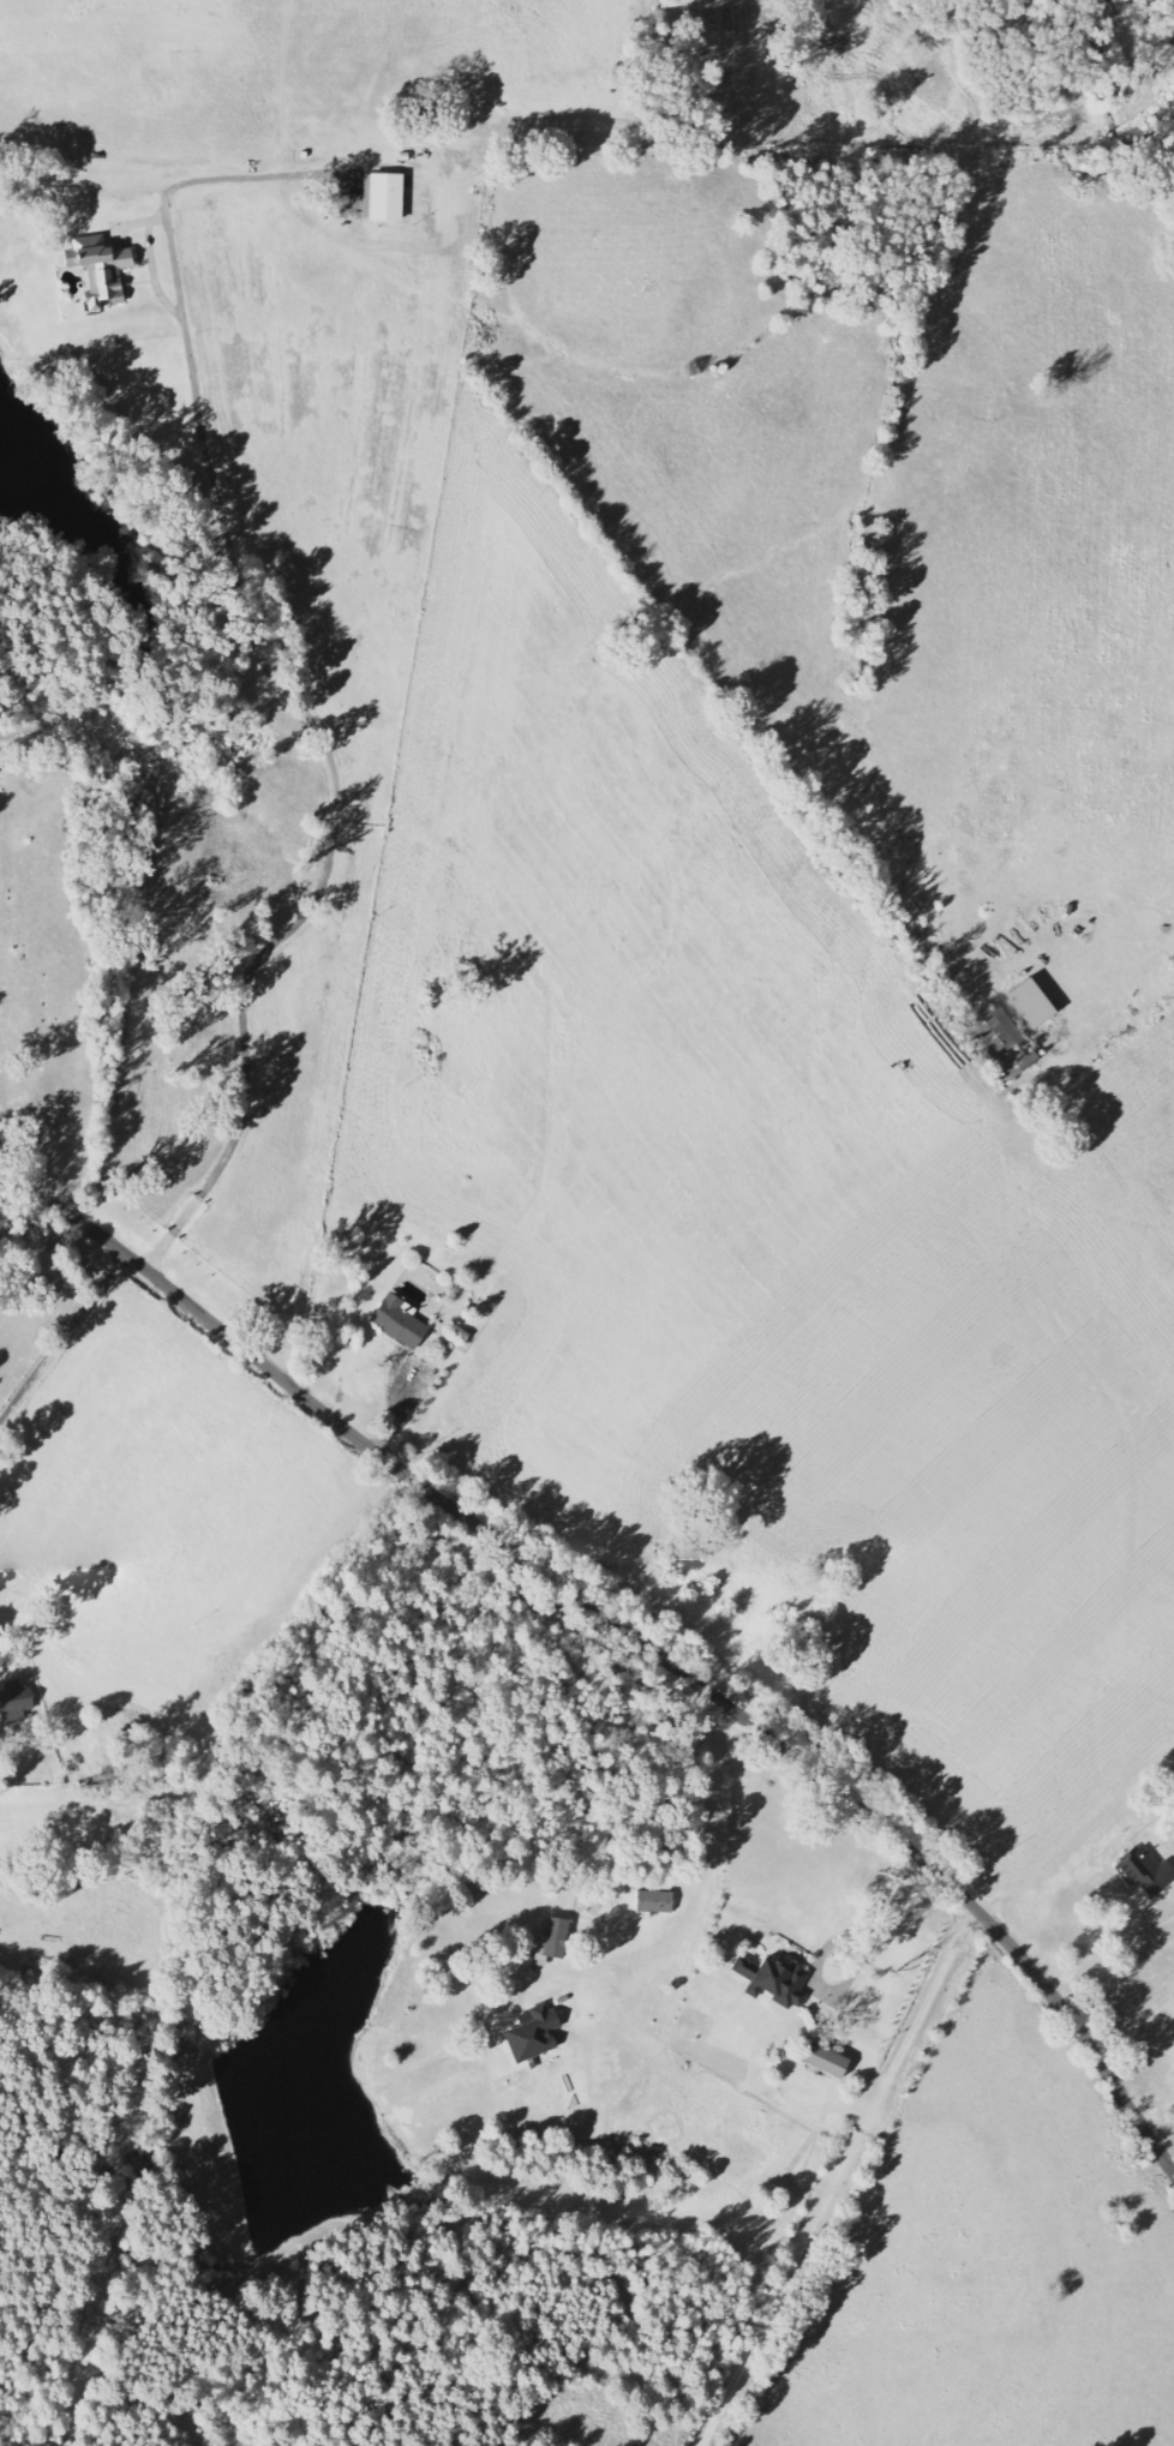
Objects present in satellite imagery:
building: (382, 198)
building: (98, 270)
building: (1030, 1005)
building: (995, 1033)
building: (399, 1321)
building: (457, 1333)
road: (633, 1624)
building: (14, 1698)
building: (1146, 1872)
building: (653, 1902)
building: (551, 1943)
building: (772, 1982)
building: (540, 2030)
building: (823, 2061)

